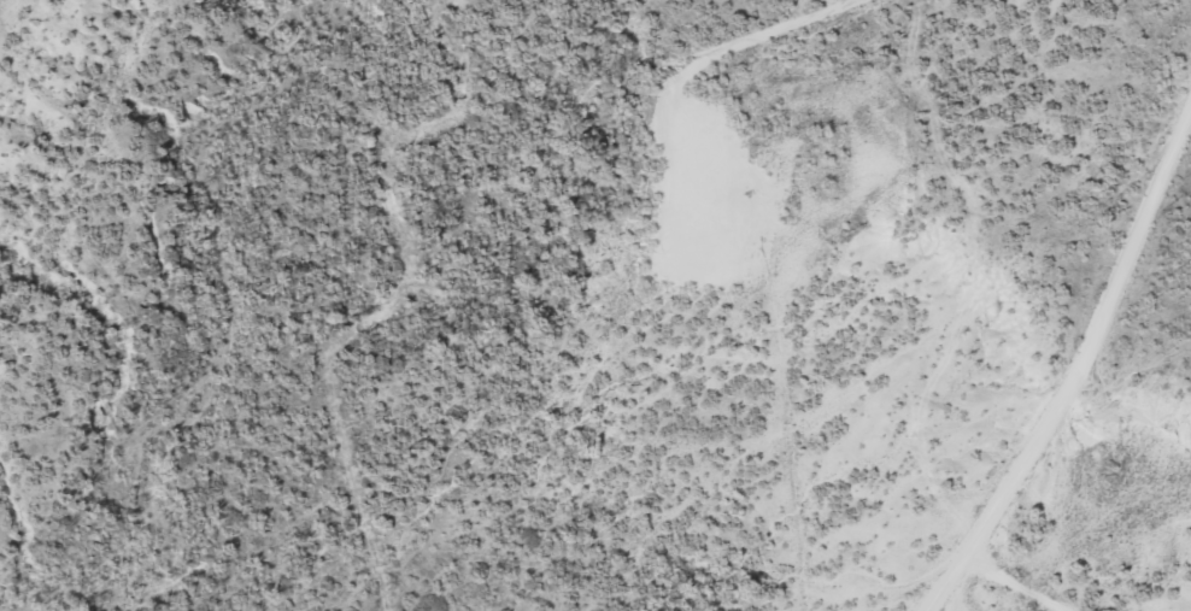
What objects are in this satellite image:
road: (1089, 363)

